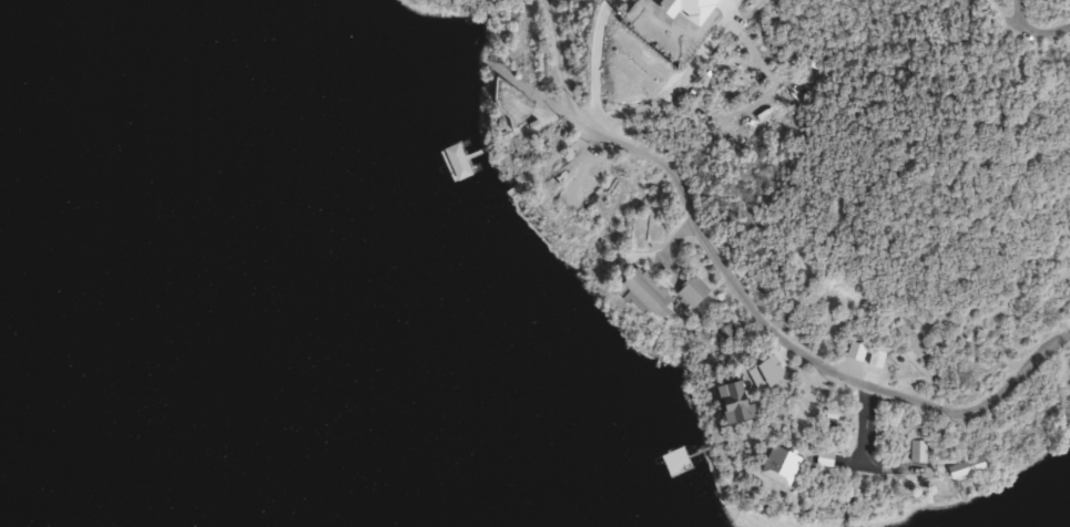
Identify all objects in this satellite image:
road: (1018, 17)
road: (1021, 33)
road: (624, 113)
building: (692, 291)
building: (645, 292)
road: (748, 297)
building: (725, 332)
building: (856, 352)
building: (874, 366)
building: (764, 375)
building: (728, 404)
building: (918, 452)
building: (775, 467)
building: (964, 468)

